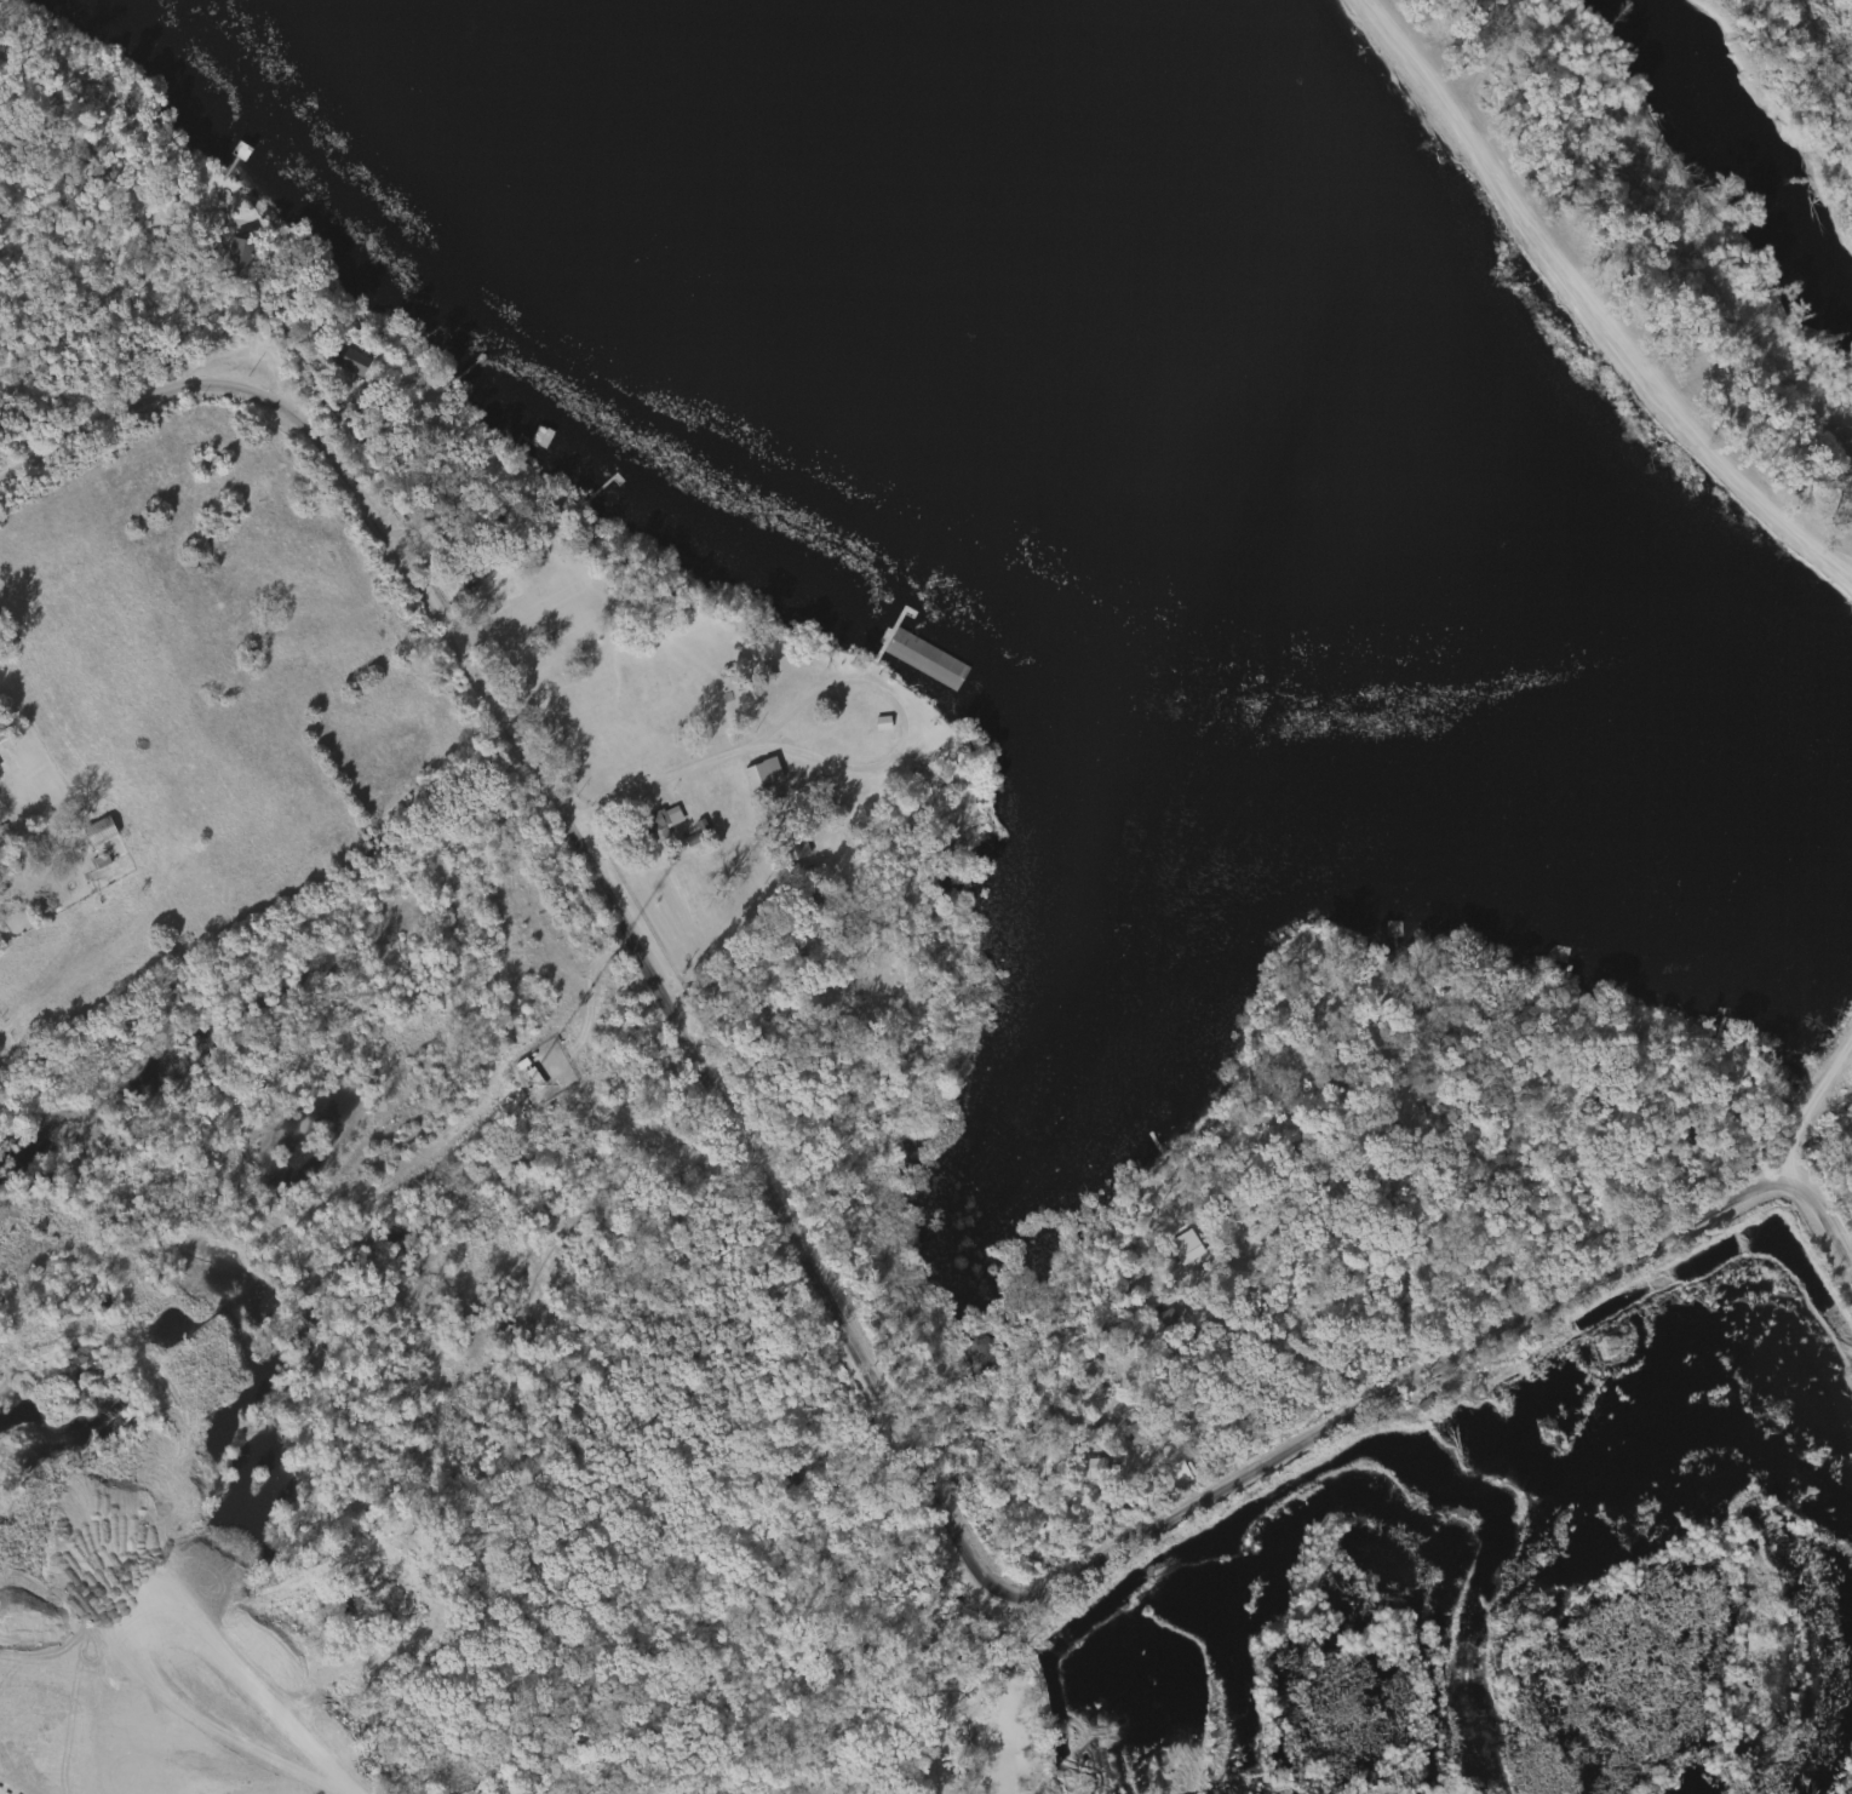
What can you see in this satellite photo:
river: (1738, 145)
building: (240, 258)
building: (354, 361)
road: (113, 430)
building: (544, 436)
building: (928, 660)
building: (0, 741)
road: (822, 758)
building: (763, 774)
road: (659, 779)
building: (655, 821)
building: (101, 830)
building: (787, 848)
building: (797, 849)
building: (809, 901)
building: (1343, 1088)
building: (1233, 1171)
road: (885, 1412)
building: (1445, 1431)
building: (1083, 1466)
road: (1428, 1473)
road: (188, 1474)
building: (1569, 1520)
building: (1063, 1660)
road: (1172, 1669)
building: (1090, 1730)
road: (11, 1761)
road: (304, 1788)

